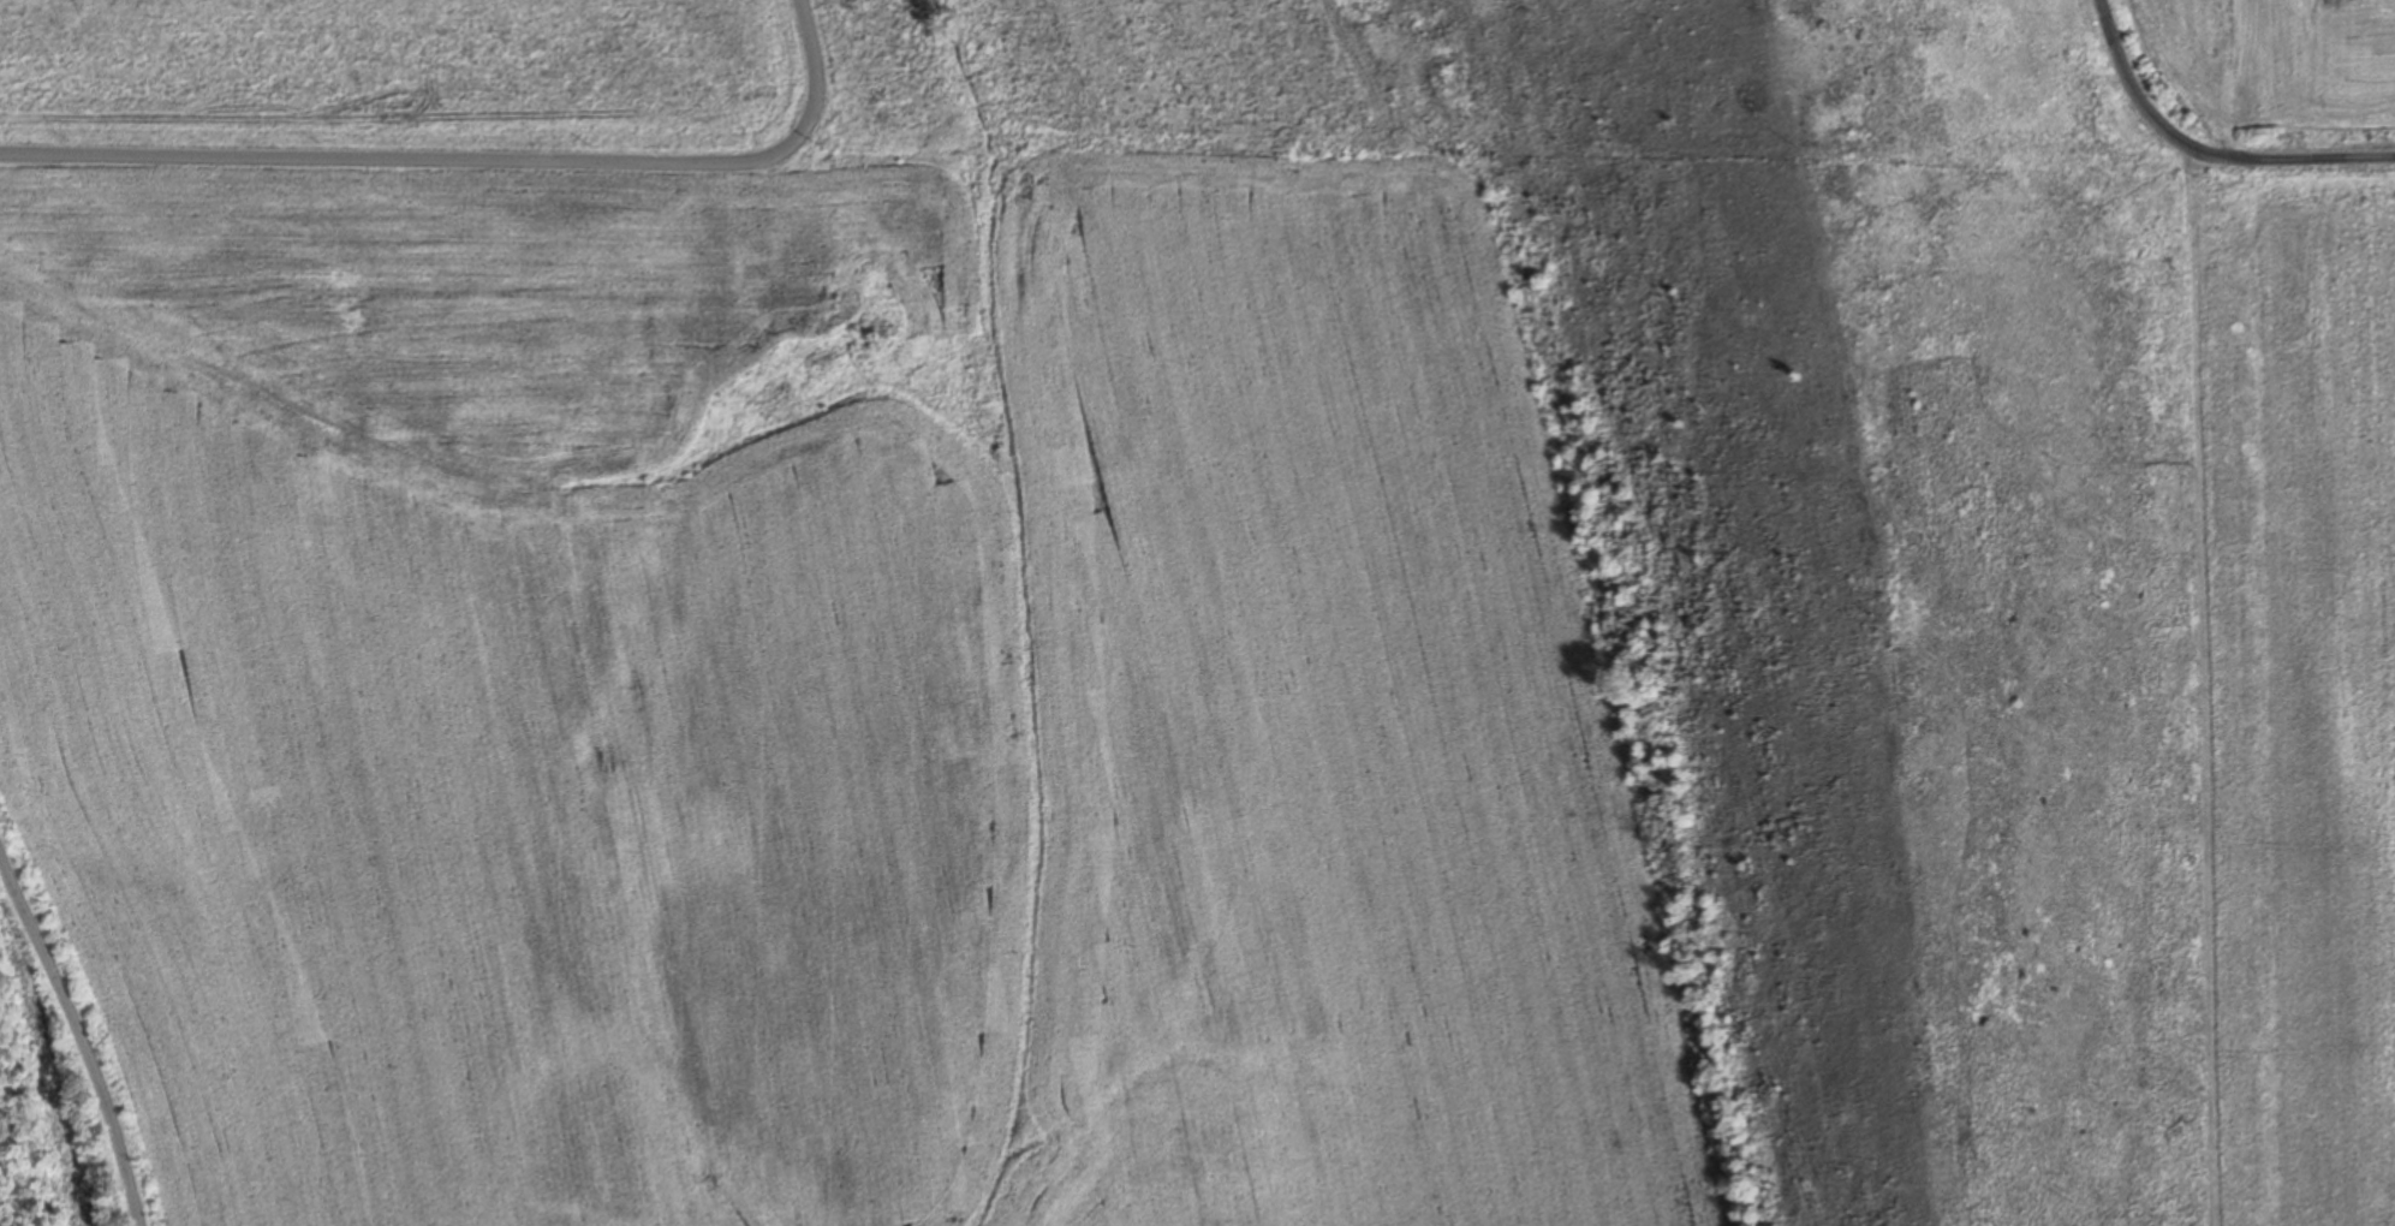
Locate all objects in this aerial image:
road: (2202, 155)
road: (475, 163)
road: (70, 1052)

